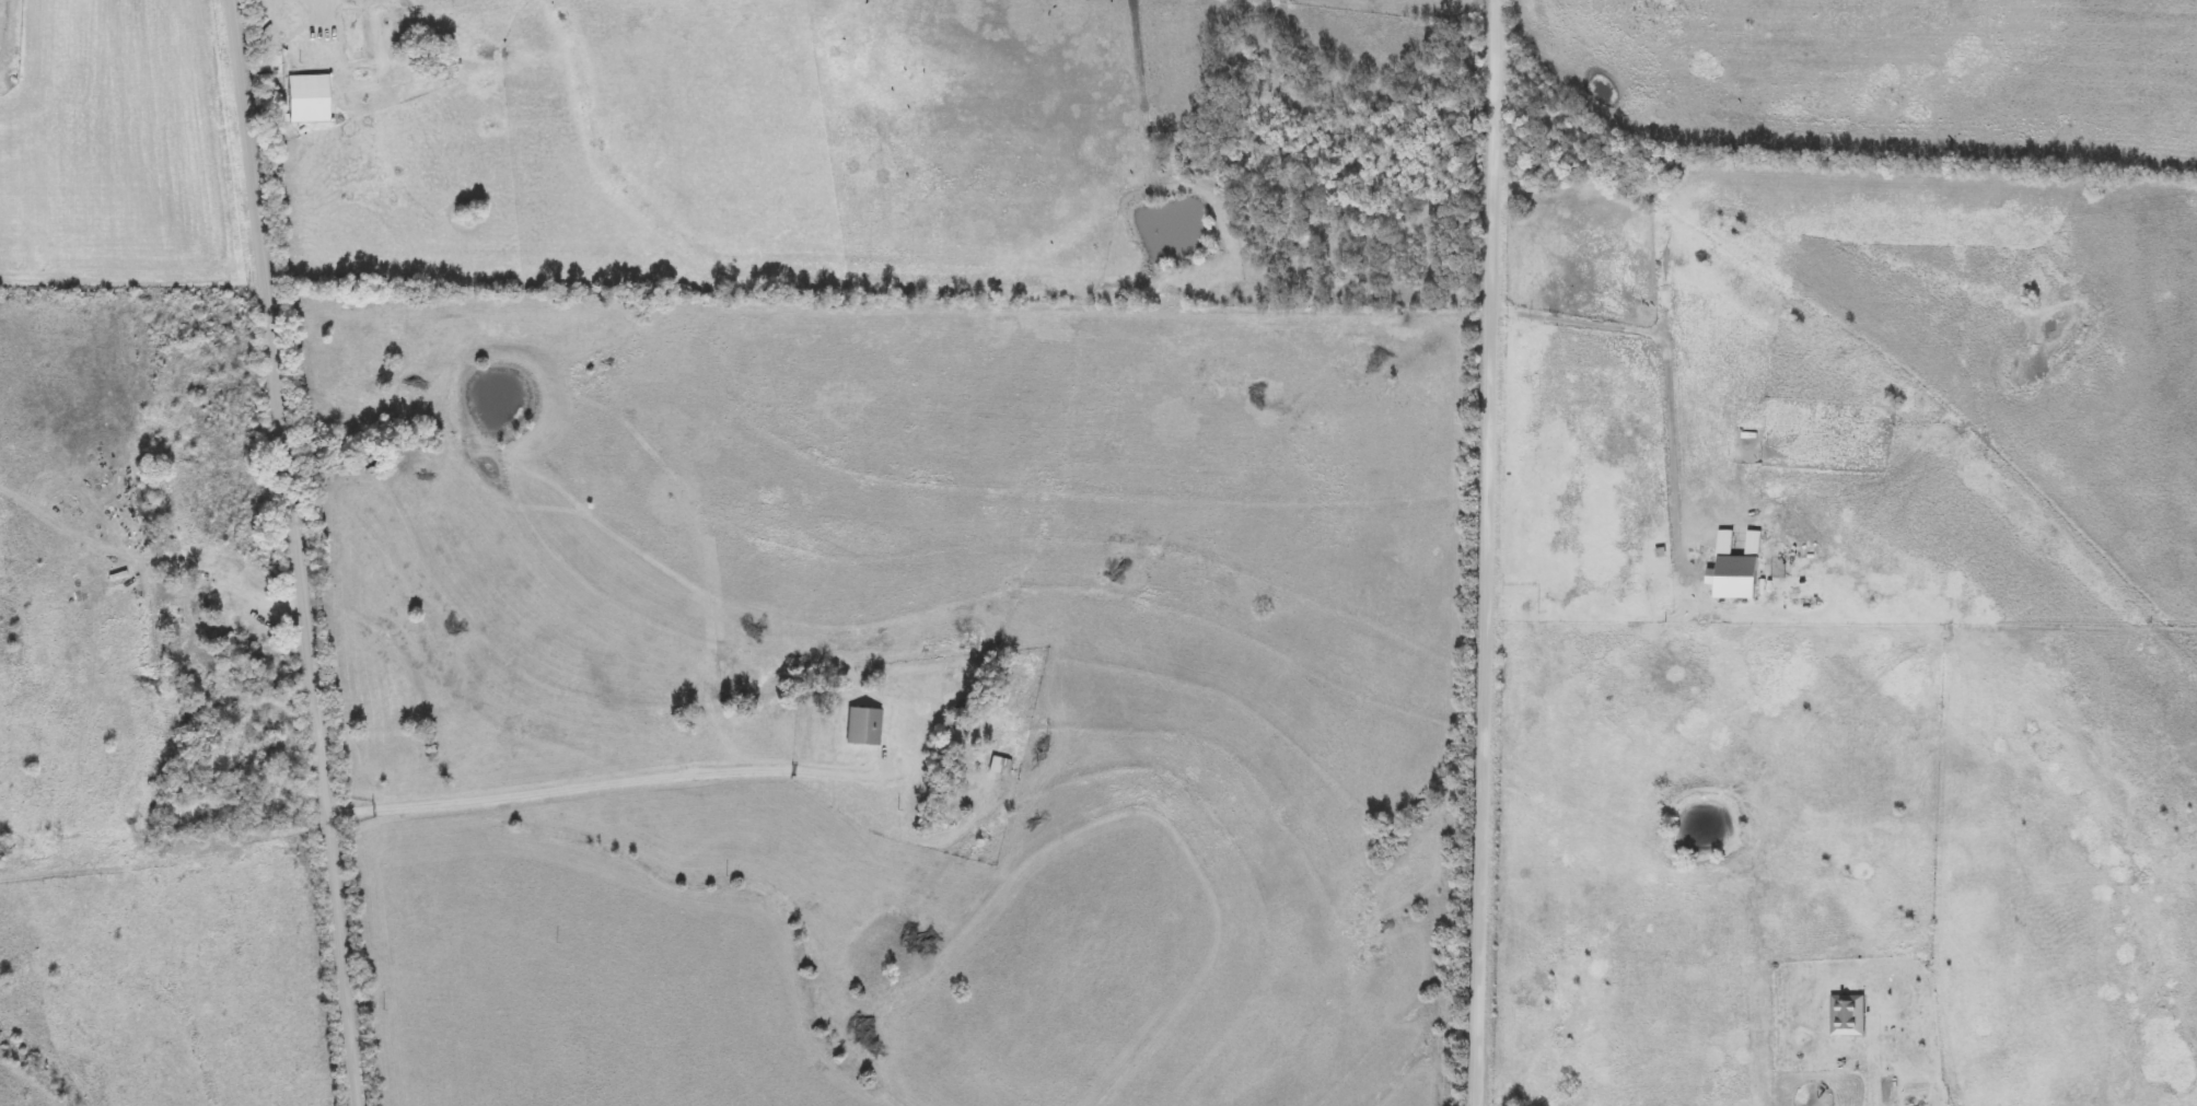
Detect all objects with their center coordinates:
road: (1671, 360)
road: (300, 552)
road: (1484, 552)
road: (271, 595)
building: (226, 621)
road: (611, 779)
building: (1849, 1015)
road: (1886, 1095)

